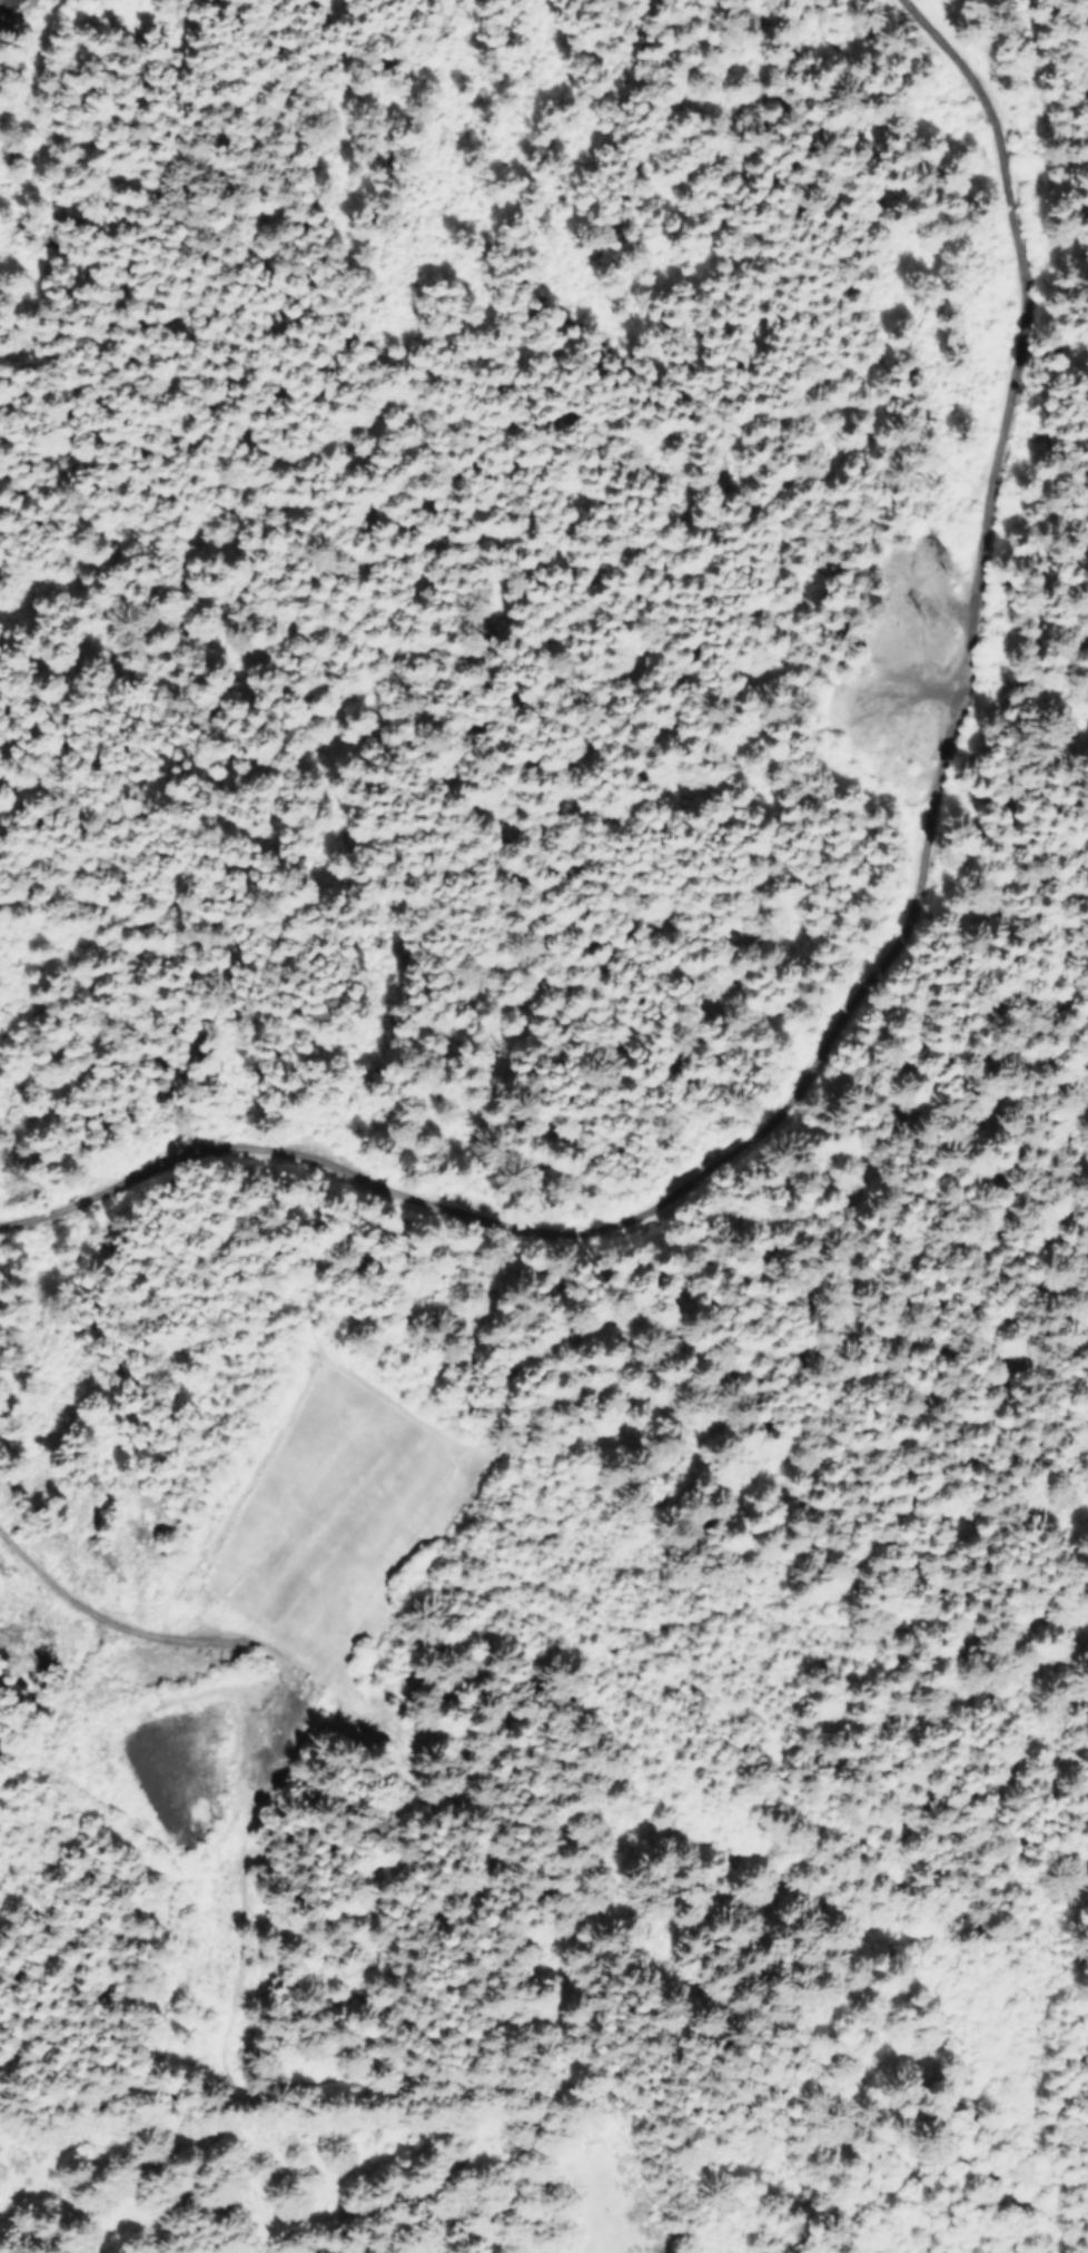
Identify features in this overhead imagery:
road: (1069, 7)
road: (1012, 240)
road: (824, 266)
road: (742, 391)
road: (970, 592)
road: (831, 666)
road: (997, 700)
park: (1008, 891)
road: (1068, 1197)
road: (623, 1213)
road: (843, 1229)
road: (971, 1476)
road: (749, 1575)
road: (311, 1689)
road: (116, 2048)
road: (521, 2077)
road: (602, 2171)

